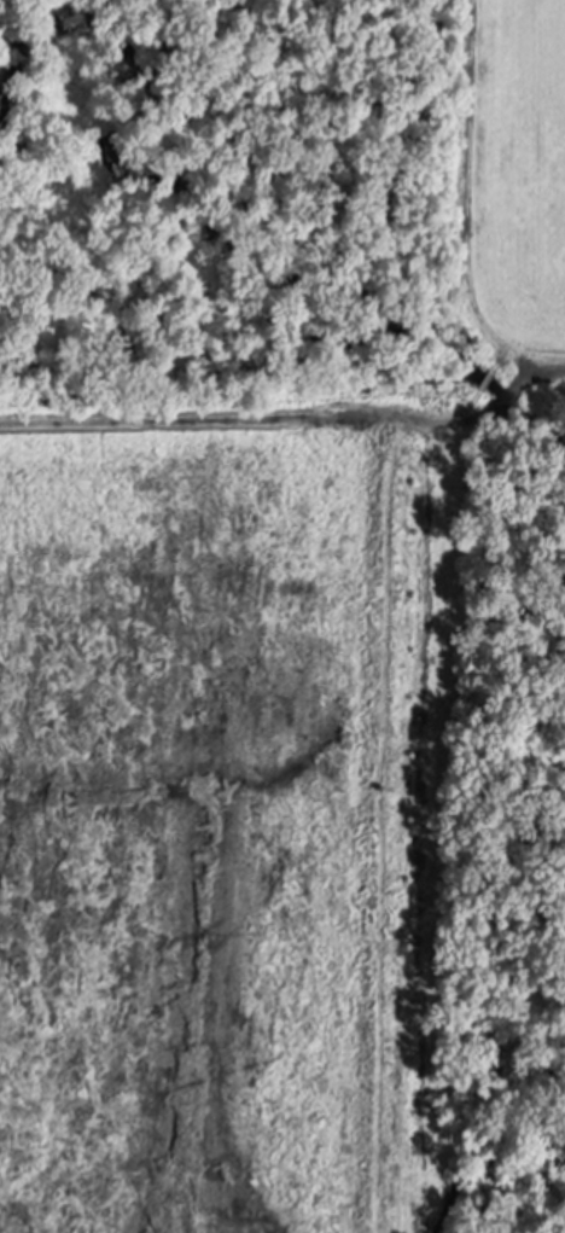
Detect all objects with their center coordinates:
crop: (507, 169)
crop: (215, 822)

